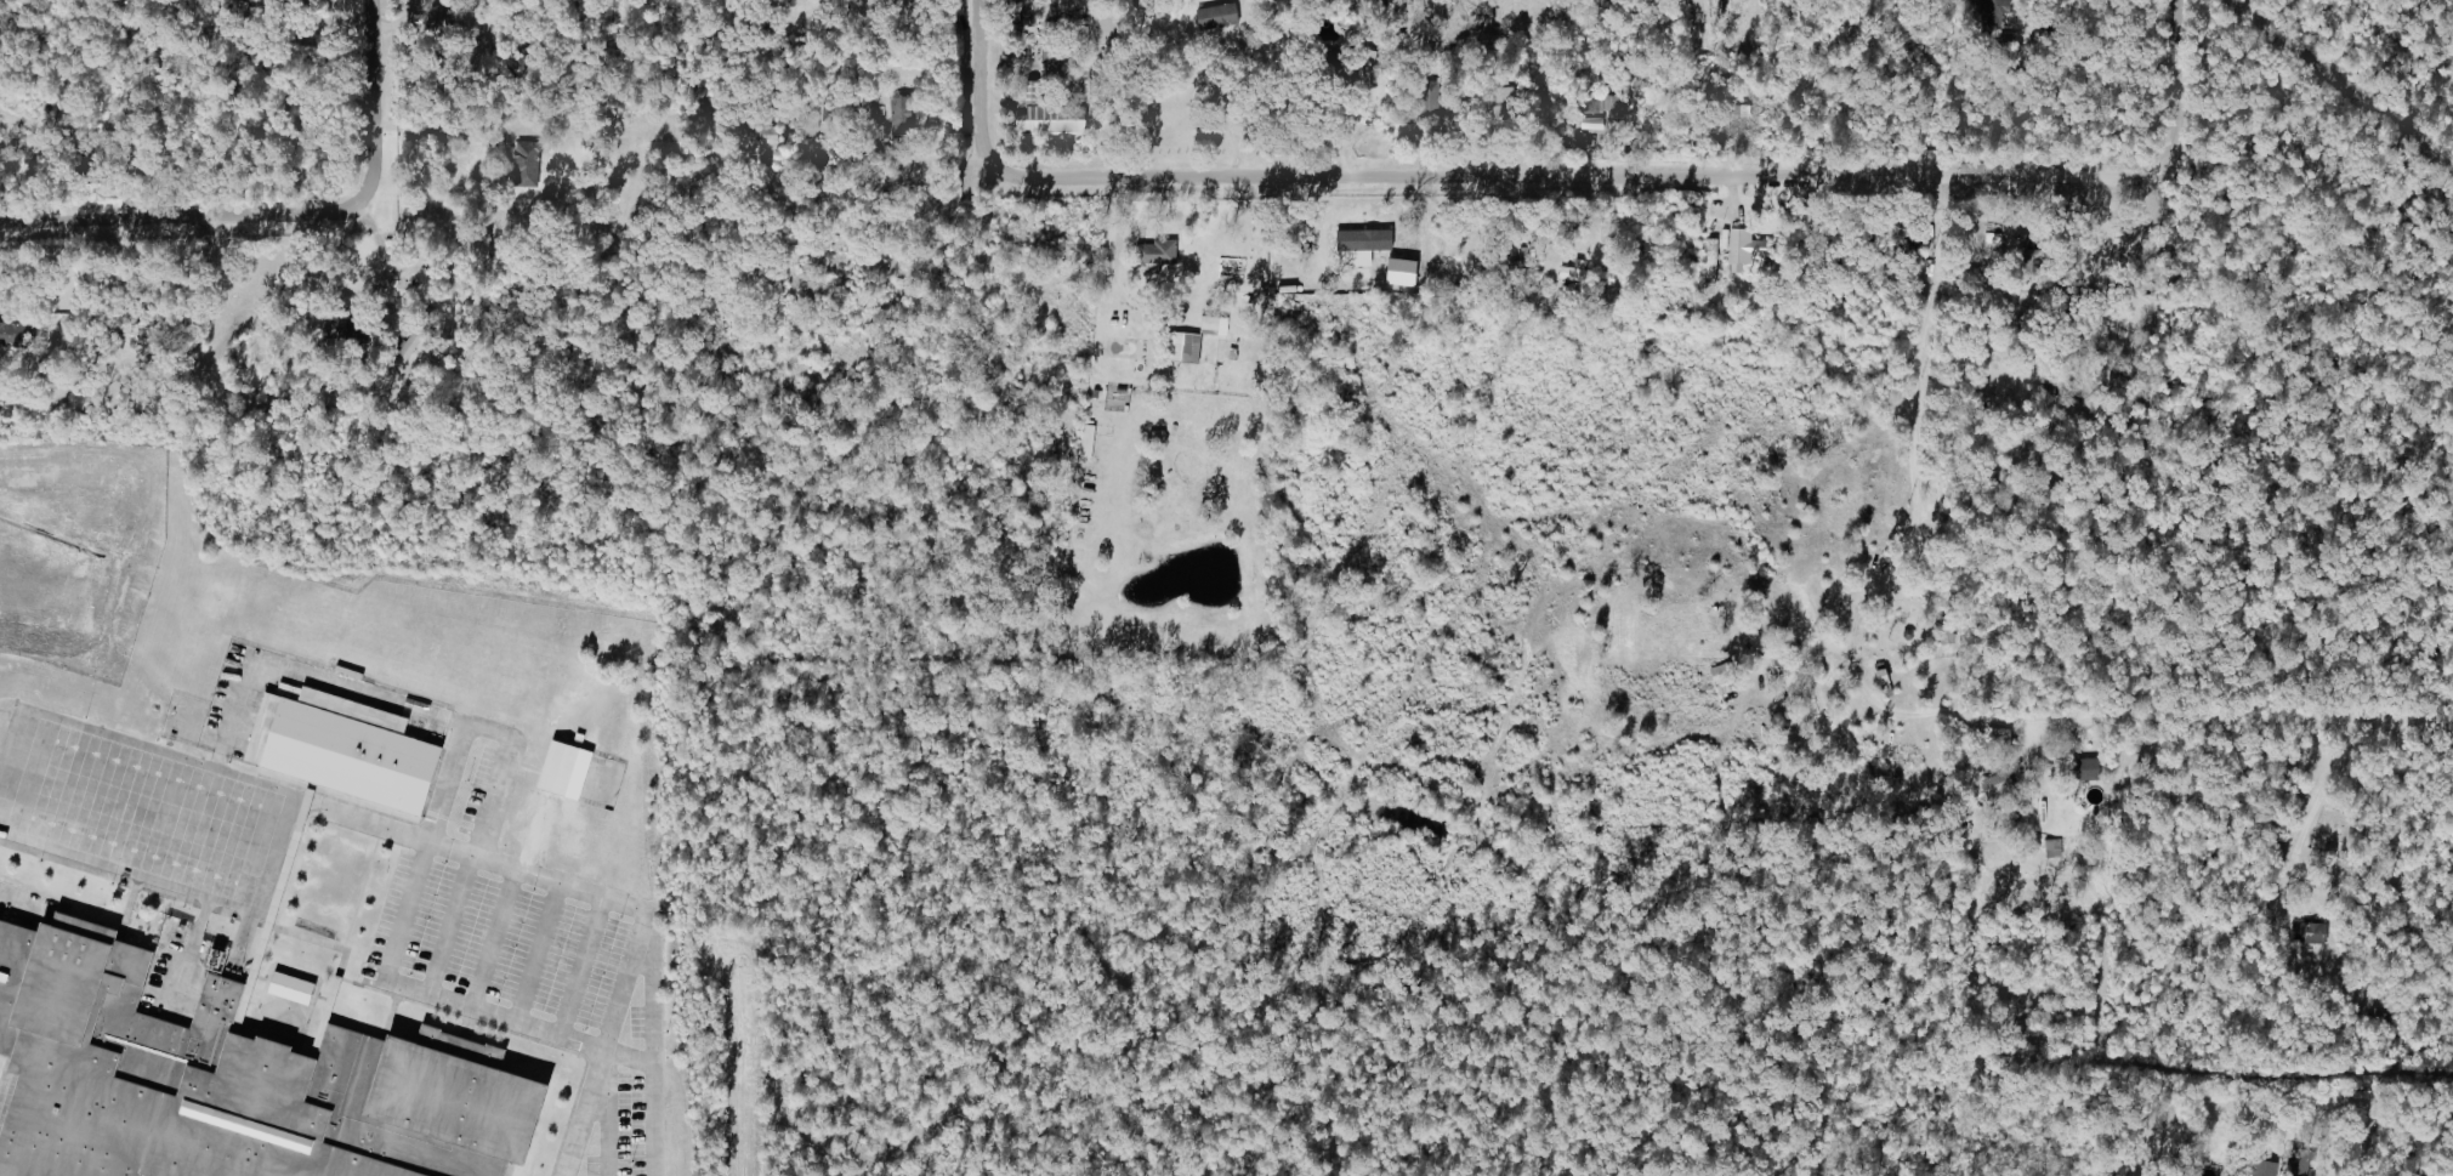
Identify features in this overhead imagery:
building: (861, 7)
building: (1992, 12)
road: (352, 16)
building: (1214, 16)
road: (2180, 85)
road: (983, 87)
building: (1736, 95)
building: (1591, 106)
road: (382, 107)
road: (158, 108)
road: (1248, 110)
building: (1741, 110)
building: (897, 113)
building: (1046, 121)
building: (765, 135)
building: (522, 164)
road: (1583, 172)
road: (192, 215)
building: (1358, 245)
building: (1736, 248)
building: (1151, 255)
building: (1710, 260)
building: (2029, 263)
building: (1396, 272)
building: (1583, 275)
building: (16, 333)
building: (407, 347)
building: (1181, 347)
road: (1912, 479)
road: (299, 671)
building: (1794, 683)
building: (291, 691)
road: (2190, 720)
road: (484, 733)
building: (343, 755)
building: (553, 768)
building: (2072, 771)
building: (1993, 785)
road: (2301, 824)
road: (263, 835)
building: (2051, 848)
road: (268, 907)
road: (398, 913)
building: (2306, 933)
road: (337, 967)
parking lot: (534, 978)
building: (296, 989)
road: (604, 1044)
road: (648, 1044)
building: (223, 1081)
building: (2235, 1172)

